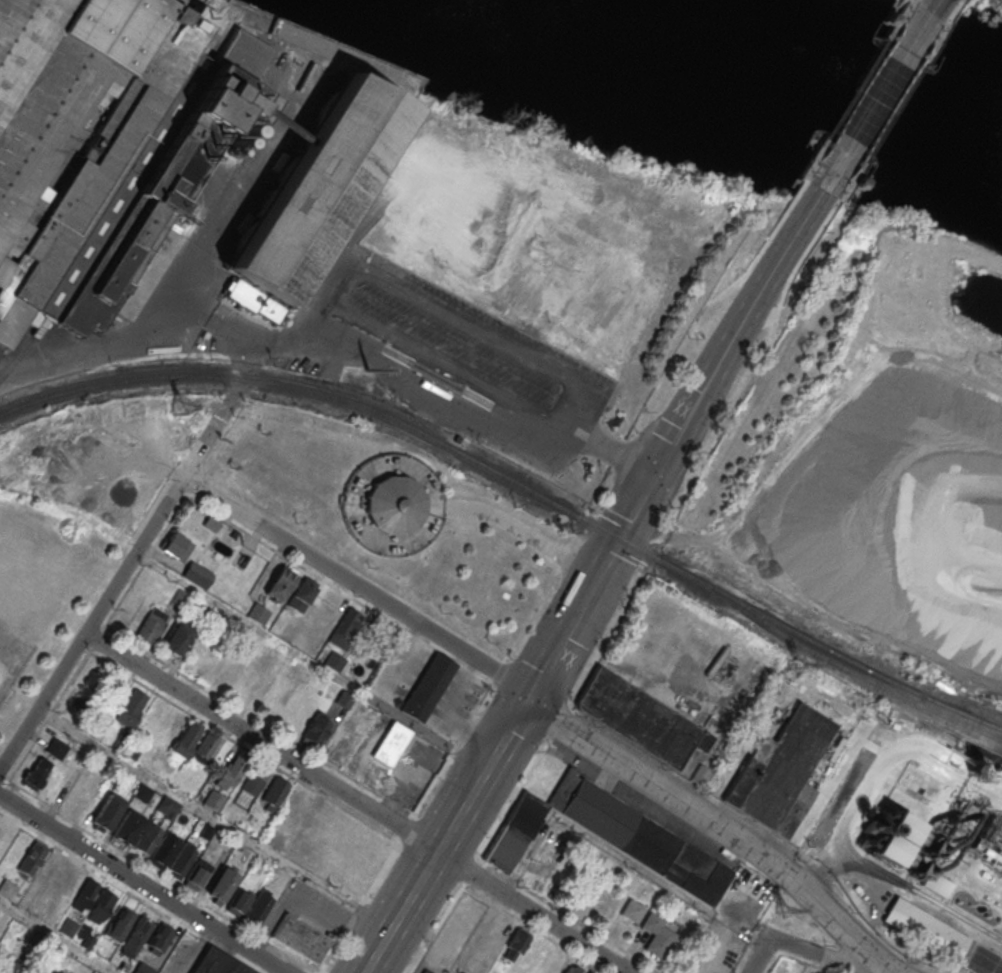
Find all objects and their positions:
road: (959, 2)
building: (522, 4)
road: (925, 14)
traffic signals: (918, 25)
river: (752, 70)
road: (878, 88)
road: (894, 106)
building: (102, 141)
traffic signals: (828, 172)
road: (826, 173)
building: (312, 188)
road: (359, 270)
road: (140, 332)
road: (312, 332)
road: (734, 336)
power tower: (368, 370)
road: (429, 393)
power tower: (181, 406)
road: (615, 450)
road: (707, 461)
traffic signals: (657, 473)
railway: (518, 485)
building: (392, 503)
road: (638, 506)
building: (176, 546)
road: (133, 555)
building: (197, 574)
building: (279, 584)
road: (357, 584)
road: (548, 585)
park: (40, 592)
building: (300, 595)
building: (258, 613)
road: (571, 619)
building: (151, 625)
building: (346, 628)
building: (288, 634)
building: (177, 638)
building: (332, 659)
road: (407, 659)
railway: (854, 662)
power tower: (796, 664)
parking lot: (401, 670)
road: (499, 672)
building: (244, 686)
building: (278, 686)
building: (427, 686)
park: (89, 693)
traffic signals: (526, 700)
parking lot: (455, 703)
building: (131, 708)
road: (445, 713)
railway: (916, 714)
building: (639, 718)
road: (556, 726)
building: (316, 728)
railway: (950, 729)
road: (429, 732)
building: (186, 740)
road: (261, 741)
building: (390, 743)
building: (205, 747)
building: (56, 748)
building: (127, 748)
road: (453, 748)
railway: (985, 758)
building: (232, 772)
building: (779, 772)
building: (36, 773)
building: (252, 785)
building: (143, 793)
building: (273, 793)
building: (915, 793)
building: (214, 800)
road: (510, 804)
building: (167, 806)
building: (107, 811)
road: (213, 819)
road: (714, 822)
building: (128, 826)
road: (406, 827)
building: (611, 835)
road: (445, 836)
building: (974, 837)
building: (161, 850)
building: (32, 857)
building: (179, 861)
road: (154, 872)
road: (470, 873)
building: (197, 875)
road: (141, 884)
building: (219, 885)
road: (903, 891)
road: (129, 892)
building: (238, 901)
road: (306, 902)
building: (100, 906)
building: (258, 906)
parking lot: (308, 907)
road: (358, 907)
building: (632, 910)
power tower: (782, 911)
road: (532, 912)
building: (118, 922)
building: (68, 927)
road: (437, 928)
road: (480, 934)
building: (658, 934)
building: (137, 935)
building: (158, 936)
building: (299, 936)
road: (57, 937)
building: (941, 939)
building: (515, 944)
road: (806, 950)
building: (533, 959)
building: (217, 962)
building: (9, 967)
building: (143, 968)
building: (573, 969)
building: (54, 972)
road: (456, 972)

